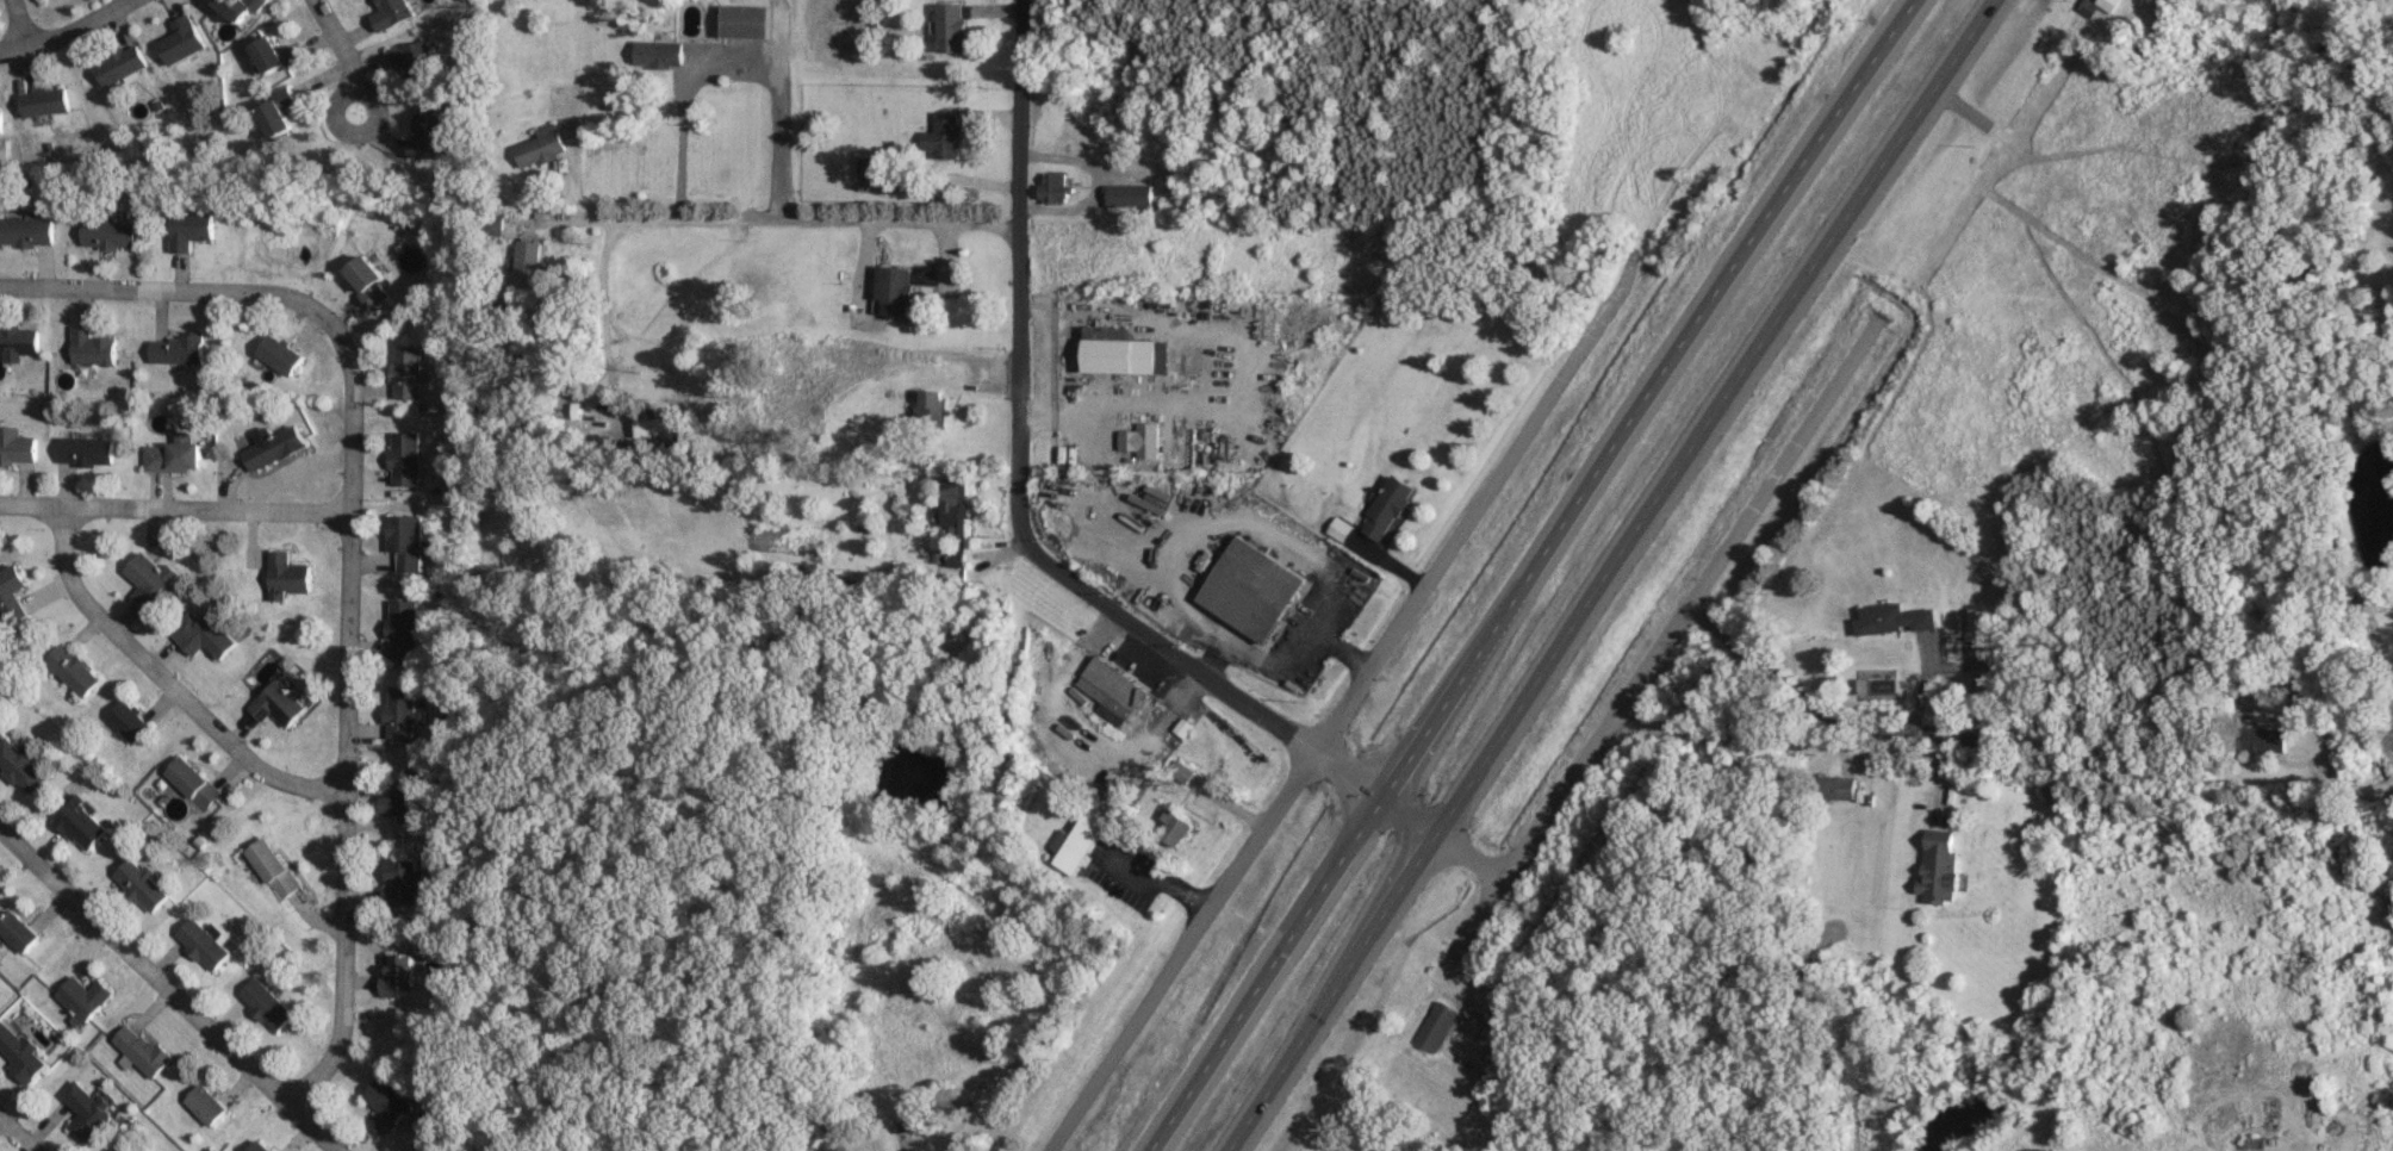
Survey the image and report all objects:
building: (2097, 5)
building: (242, 8)
building: (391, 13)
building: (746, 21)
road: (15, 24)
building: (951, 27)
road: (67, 33)
building: (182, 41)
building: (657, 52)
road: (340, 55)
building: (276, 56)
road: (733, 58)
building: (414, 61)
building: (122, 64)
building: (44, 101)
building: (279, 114)
building: (0, 120)
building: (427, 136)
building: (943, 136)
building: (541, 145)
building: (870, 168)
building: (1053, 188)
building: (1127, 195)
road: (810, 223)
building: (192, 229)
building: (26, 231)
building: (110, 234)
building: (528, 262)
building: (368, 279)
building: (896, 288)
road: (601, 319)
building: (18, 340)
building: (92, 346)
building: (178, 348)
building: (1127, 350)
building: (1082, 353)
building: (282, 354)
building: (406, 371)
building: (654, 428)
building: (1143, 440)
building: (17, 446)
building: (275, 447)
building: (88, 450)
building: (175, 456)
building: (405, 458)
road: (1015, 492)
road: (1475, 503)
building: (952, 506)
road: (173, 508)
building: (1387, 508)
building: (1340, 529)
road: (1734, 533)
building: (406, 541)
road: (346, 552)
road: (1529, 574)
building: (290, 575)
road: (1609, 575)
building: (151, 581)
building: (1253, 589)
building: (13, 593)
building: (1896, 618)
building: (1981, 624)
building: (405, 627)
building: (211, 637)
building: (75, 668)
road: (164, 684)
building: (1112, 690)
building: (280, 703)
building: (404, 713)
road: (1827, 717)
building: (131, 721)
building: (2264, 739)
road: (2002, 760)
building: (23, 765)
building: (1182, 773)
building: (195, 783)
building: (1840, 788)
building: (408, 797)
building: (83, 823)
building: (1174, 826)
building: (1077, 844)
road: (1512, 857)
building: (273, 867)
building: (1939, 870)
road: (1162, 877)
building: (405, 883)
building: (143, 885)
building: (19, 932)
building: (205, 944)
road: (1174, 951)
building: (399, 973)
road: (170, 988)
building: (86, 997)
building: (268, 1004)
building: (1436, 1026)
building: (143, 1049)
building: (21, 1053)
building: (207, 1103)
building: (389, 1105)
building: (87, 1112)
road: (14, 1137)
building: (135, 1146)
building: (261, 1146)
building: (835, 1146)

